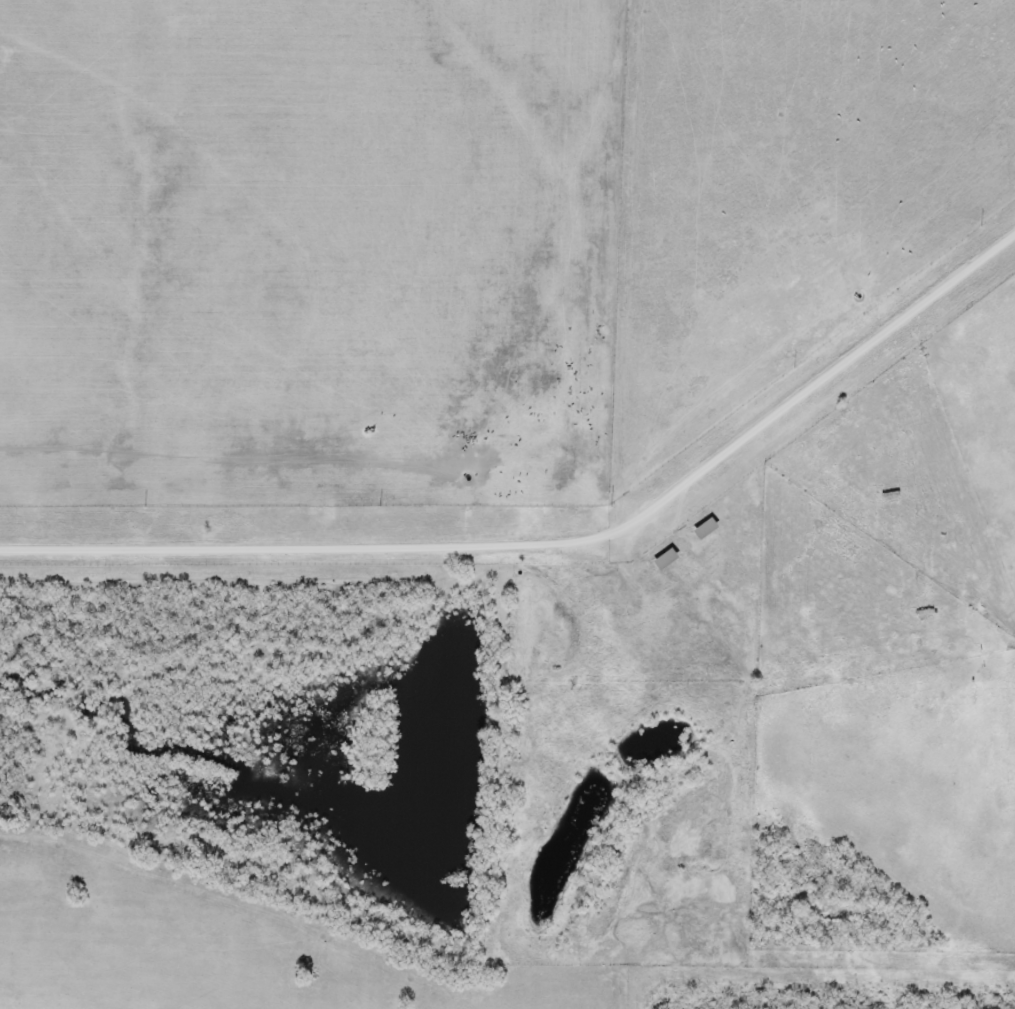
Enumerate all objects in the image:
building: (701, 531)
road: (557, 546)
building: (661, 561)

